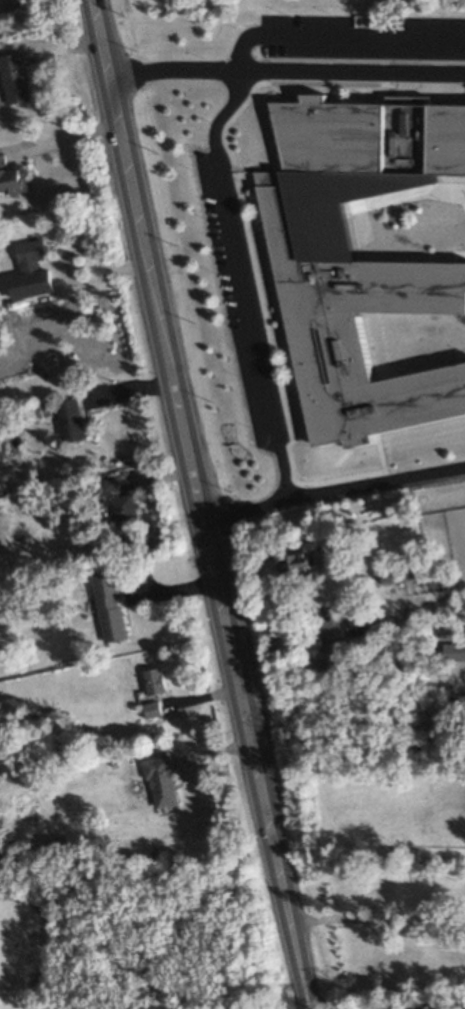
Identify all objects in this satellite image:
road: (106, 61)
road: (172, 69)
road: (351, 69)
building: (16, 77)
road: (69, 138)
building: (12, 177)
building: (31, 270)
road: (246, 280)
building: (370, 287)
building: (72, 420)
road: (333, 487)
building: (119, 501)
building: (298, 561)
road: (214, 563)
building: (393, 575)
building: (110, 606)
building: (454, 650)
building: (155, 680)
building: (153, 708)
building: (162, 779)
road: (378, 921)
crop: (23, 950)
road: (387, 1004)
road: (310, 1007)

